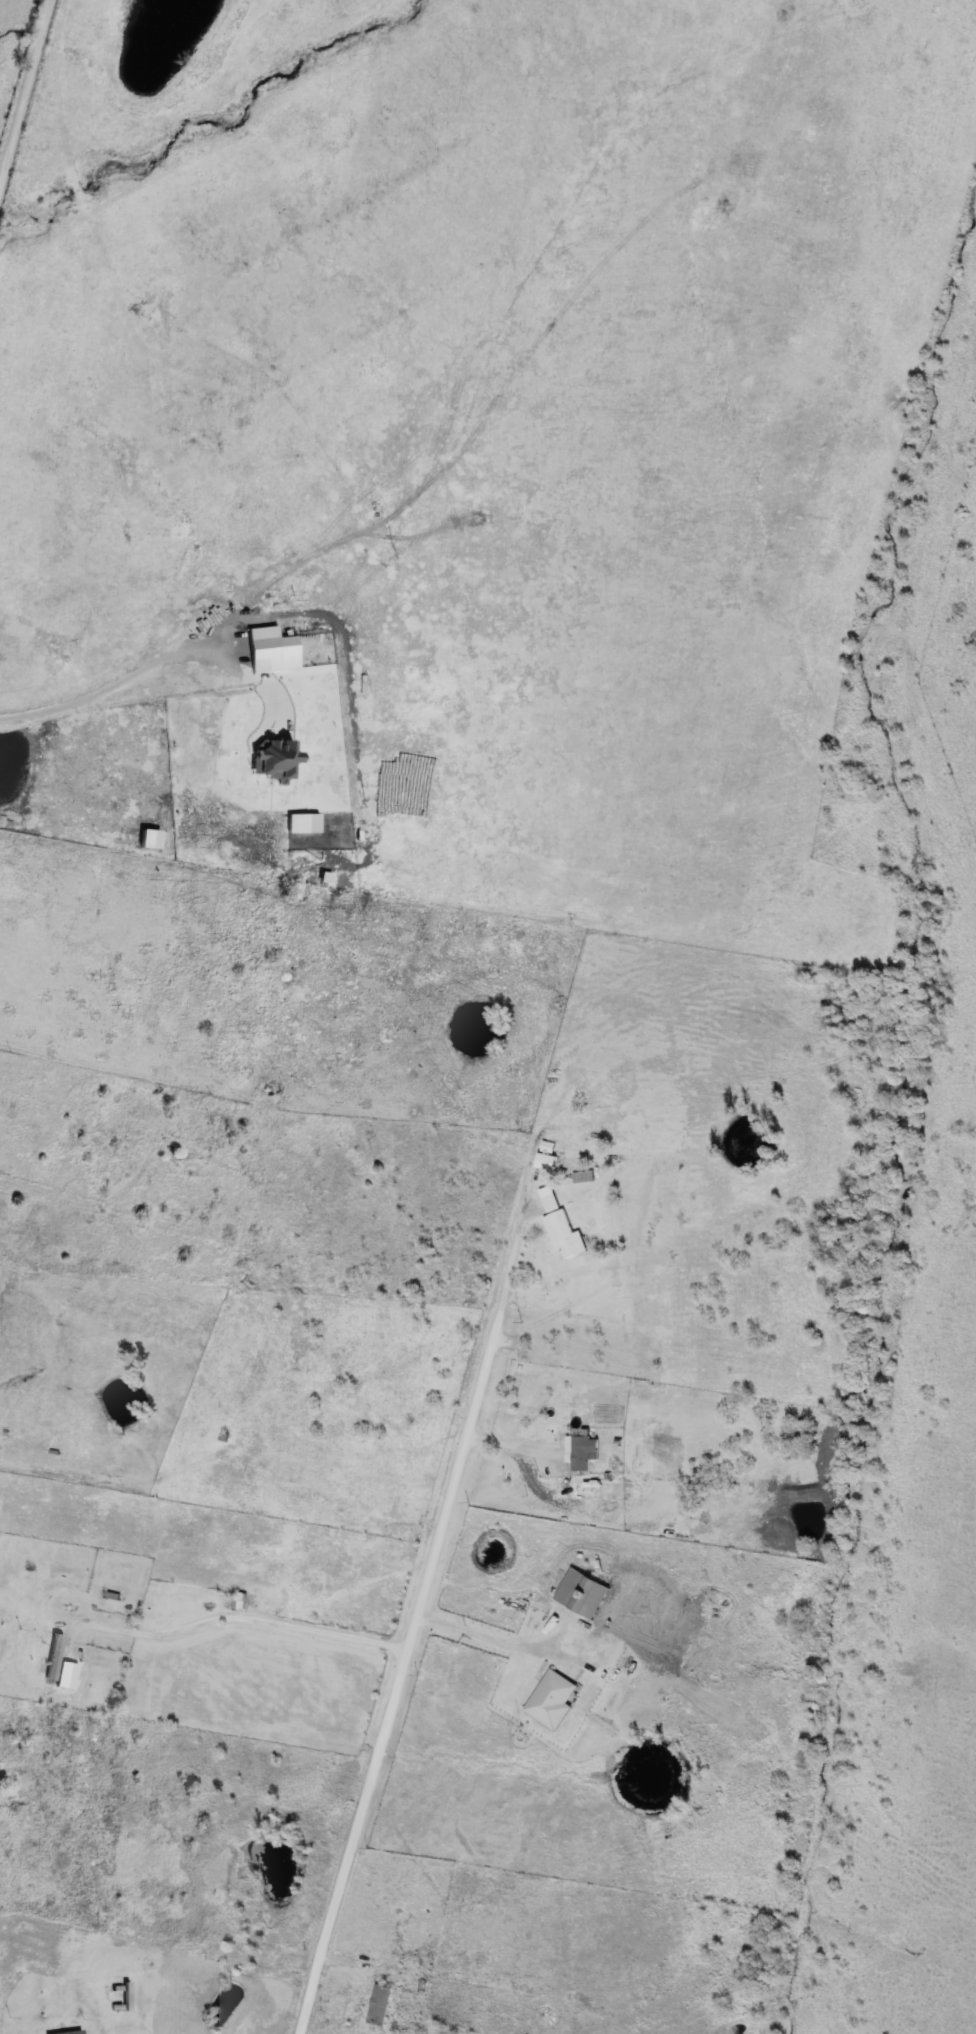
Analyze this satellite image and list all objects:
road: (25, 100)
building: (386, 509)
road: (121, 688)
road: (165, 1227)
building: (561, 1227)
building: (798, 1435)
road: (512, 1447)
building: (586, 1452)
road: (44, 1463)
building: (563, 1471)
building: (588, 1597)
building: (245, 1601)
road: (421, 1611)
road: (239, 1617)
road: (498, 1636)
building: (53, 1657)
building: (552, 1700)
building: (2, 1813)
building: (381, 2004)
road: (41, 2030)
building: (444, 2031)
building: (68, 2032)

